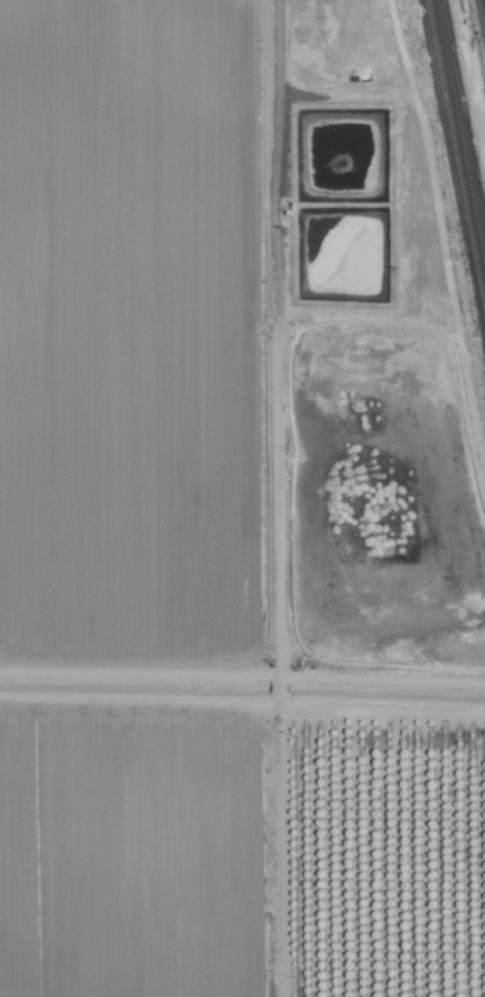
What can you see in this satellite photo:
road: (484, 2)
railway: (460, 134)
railway: (455, 160)

